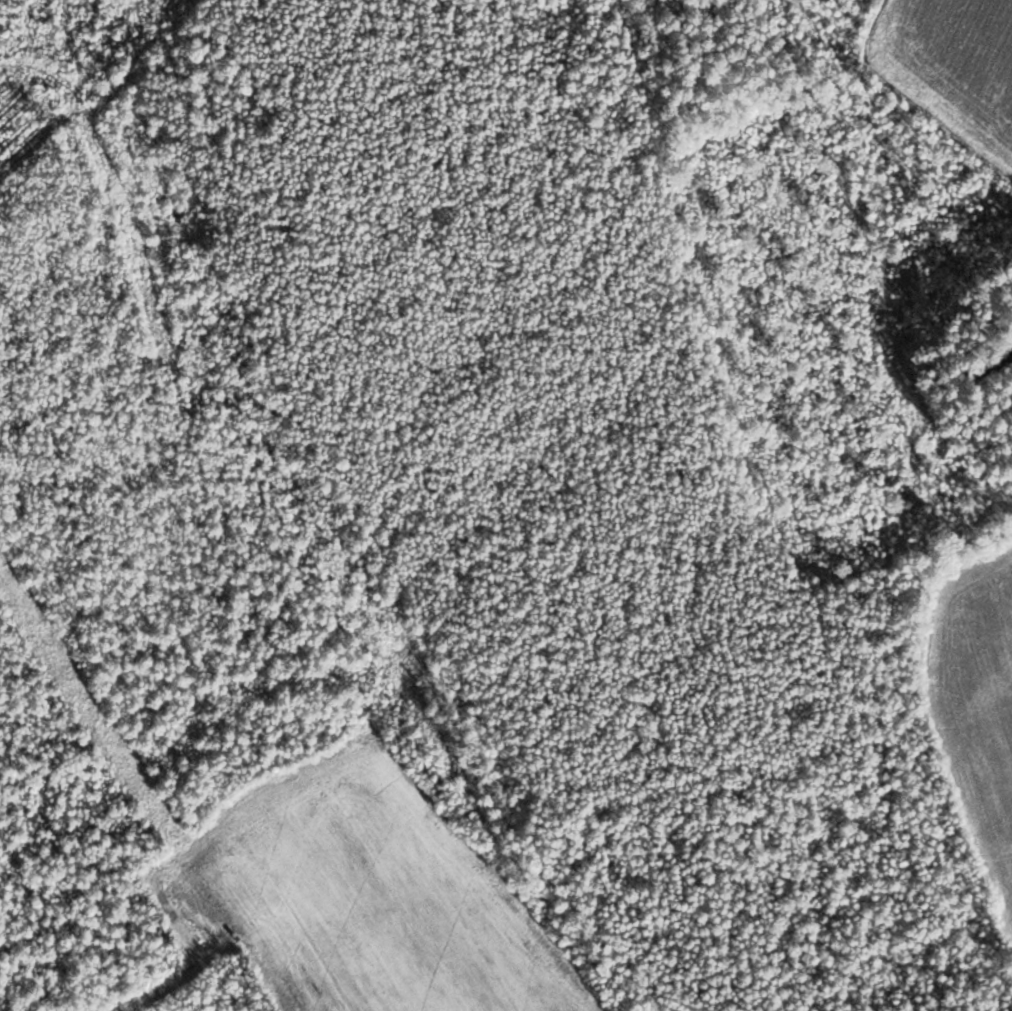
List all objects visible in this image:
road: (164, 986)

